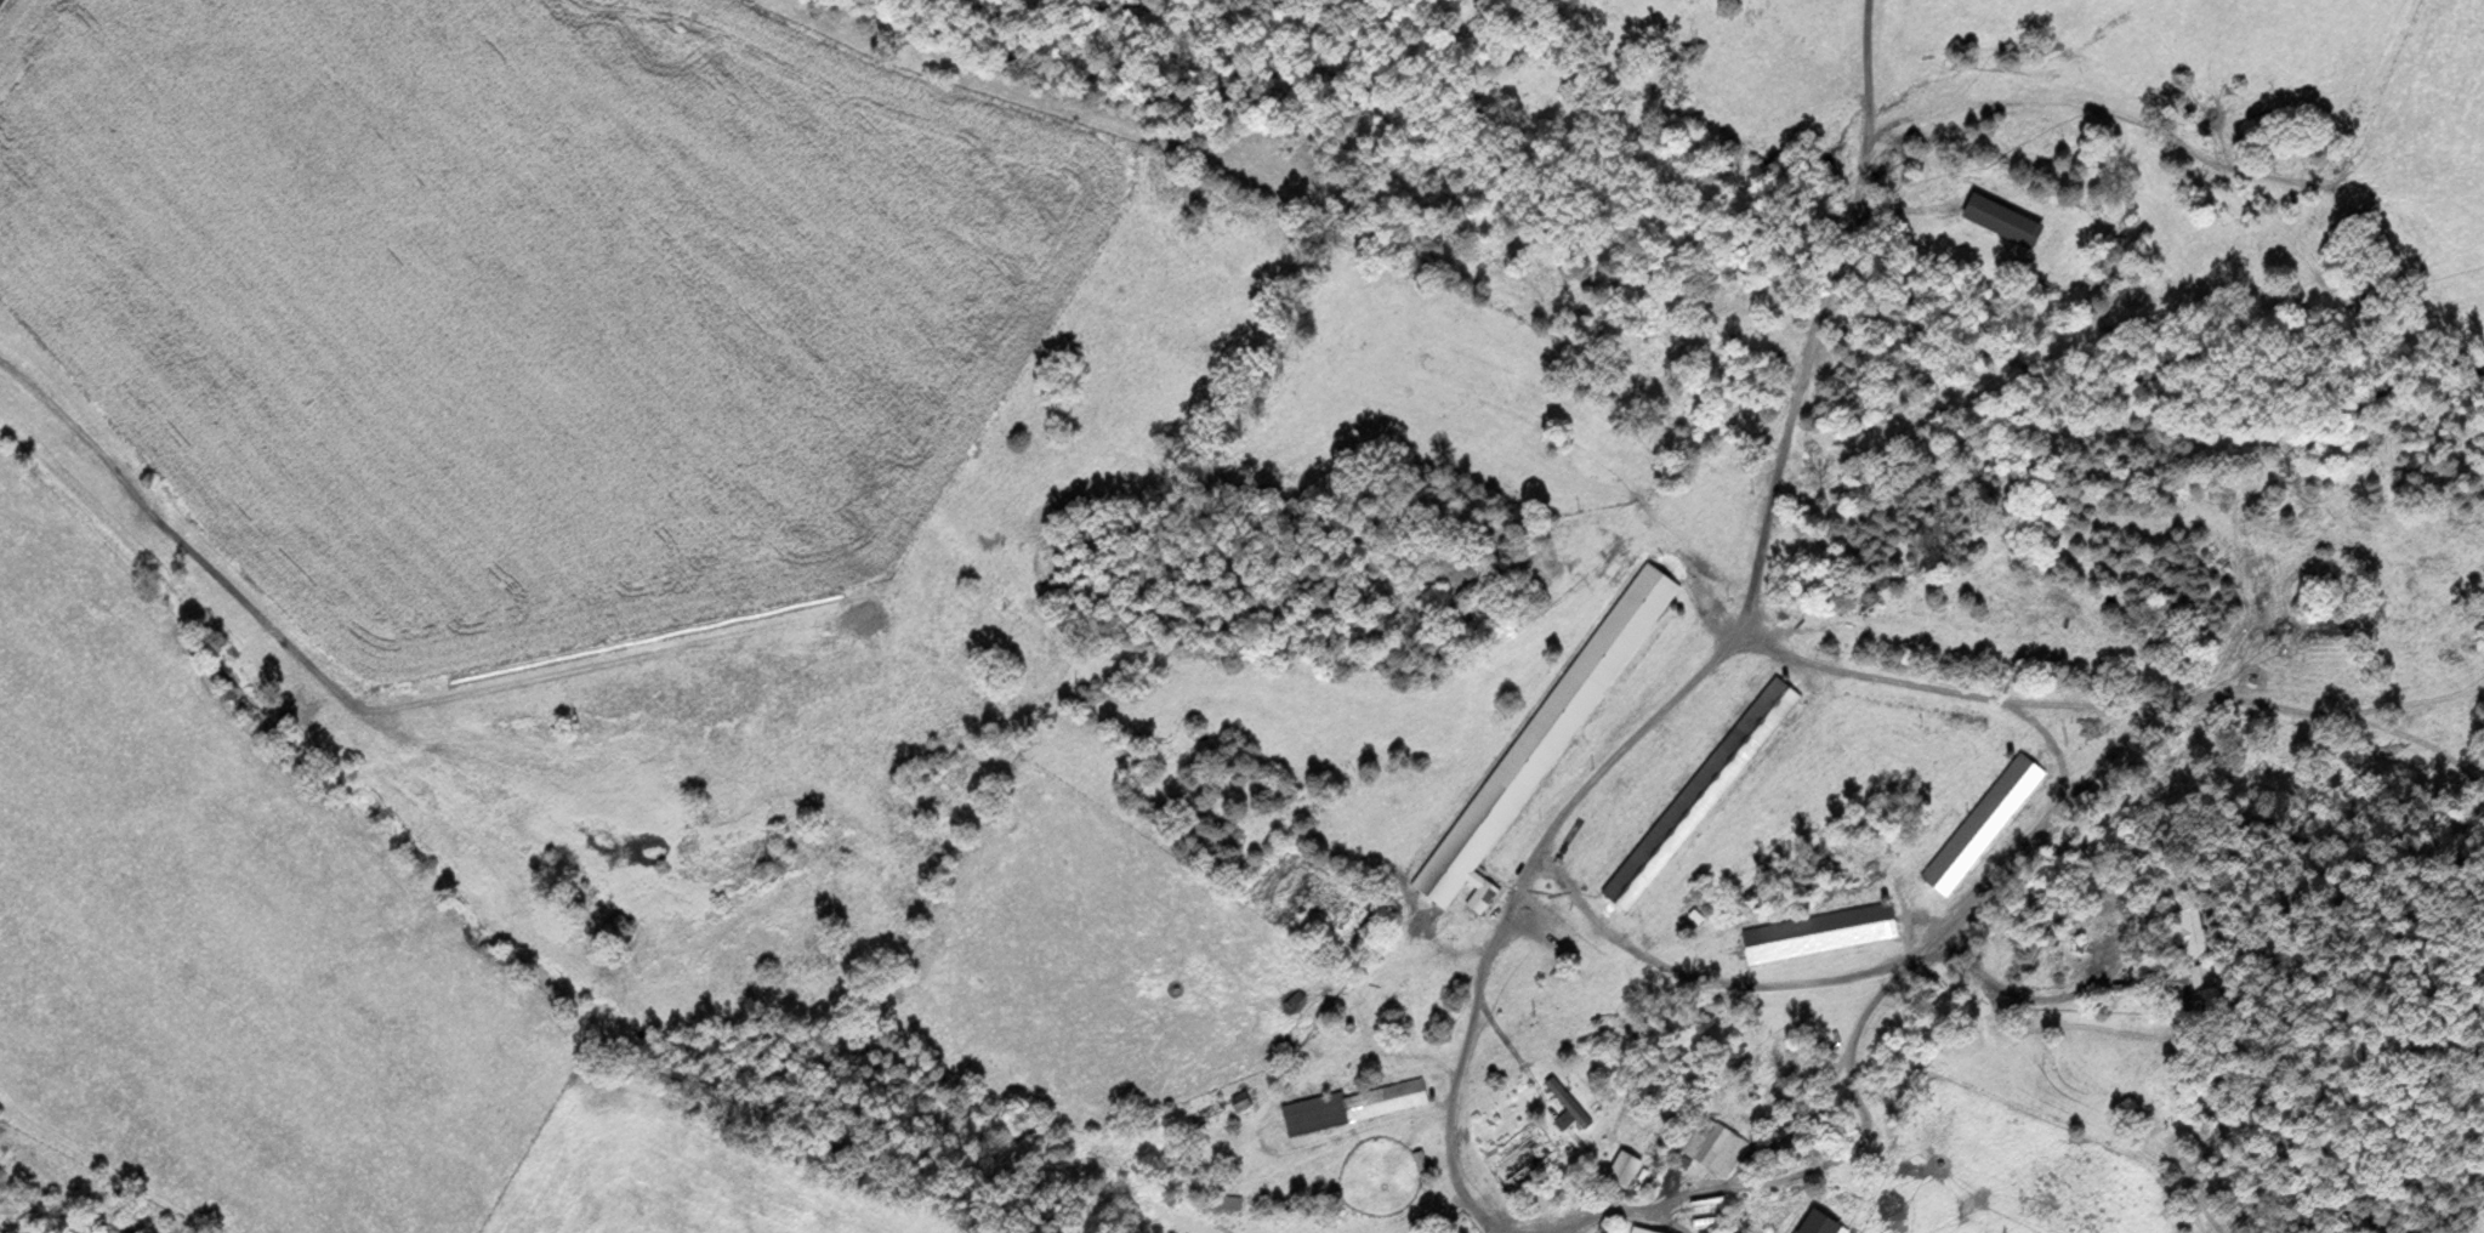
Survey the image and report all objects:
building: (2008, 220)
road: (1715, 652)
building: (1546, 735)
building: (1701, 792)
building: (1983, 823)
building: (1483, 896)
building: (1820, 931)
building: (2189, 933)
road: (1923, 942)
road: (1701, 979)
building: (2196, 979)
road: (2028, 998)
building: (1241, 1100)
building: (1569, 1102)
building: (1348, 1104)
building: (1711, 1143)
building: (1625, 1165)
building: (1228, 1200)
building: (1824, 1223)
road: (1557, 1228)
building: (1648, 1229)

